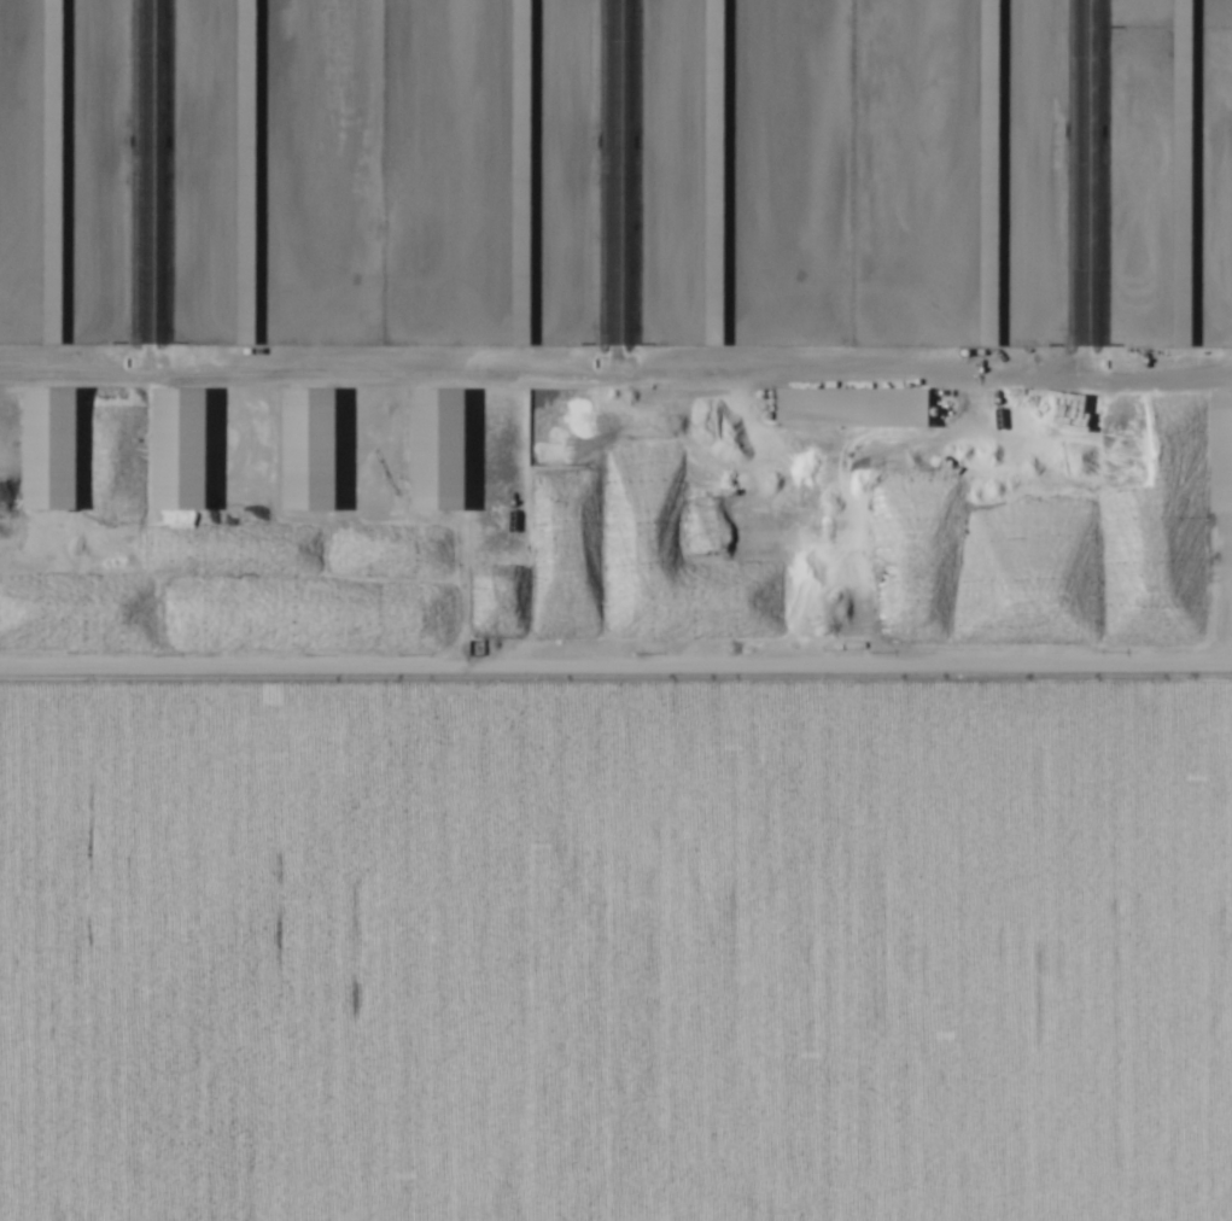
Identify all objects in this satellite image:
building: (520, 49)
building: (713, 58)
building: (52, 173)
building: (245, 174)
building: (987, 174)
building: (1180, 174)
building: (519, 253)
building: (712, 276)
road: (296, 339)
building: (849, 409)
building: (48, 450)
building: (179, 450)
building: (308, 450)
building: (439, 451)
building: (1221, 452)
building: (973, 553)
road: (615, 677)

